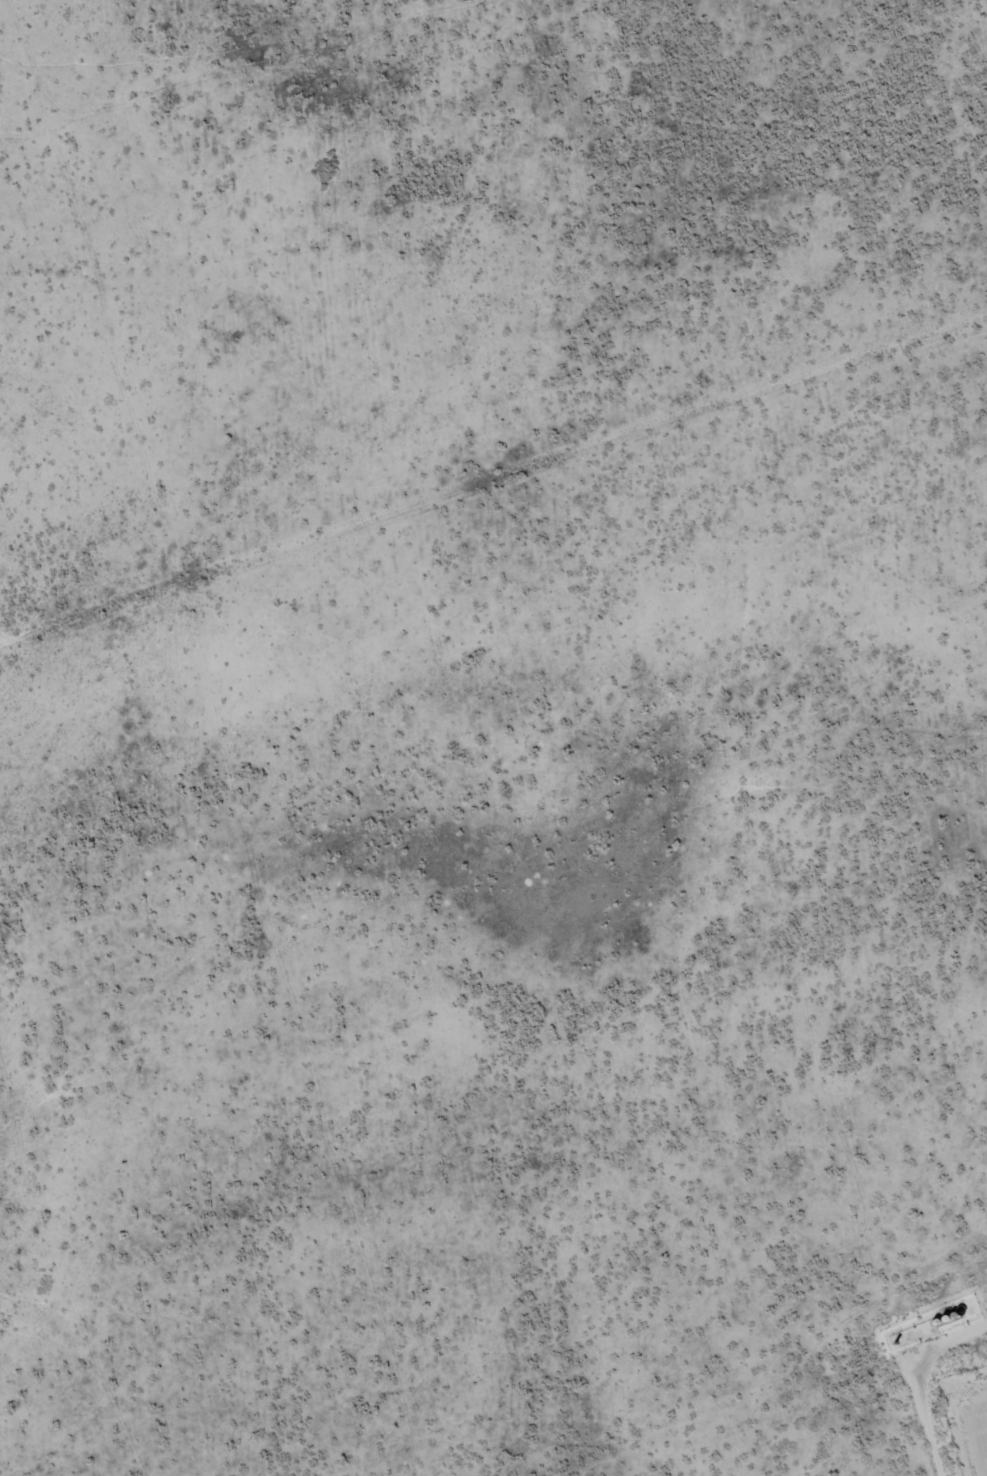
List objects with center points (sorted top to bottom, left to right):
river: (486, 928)

